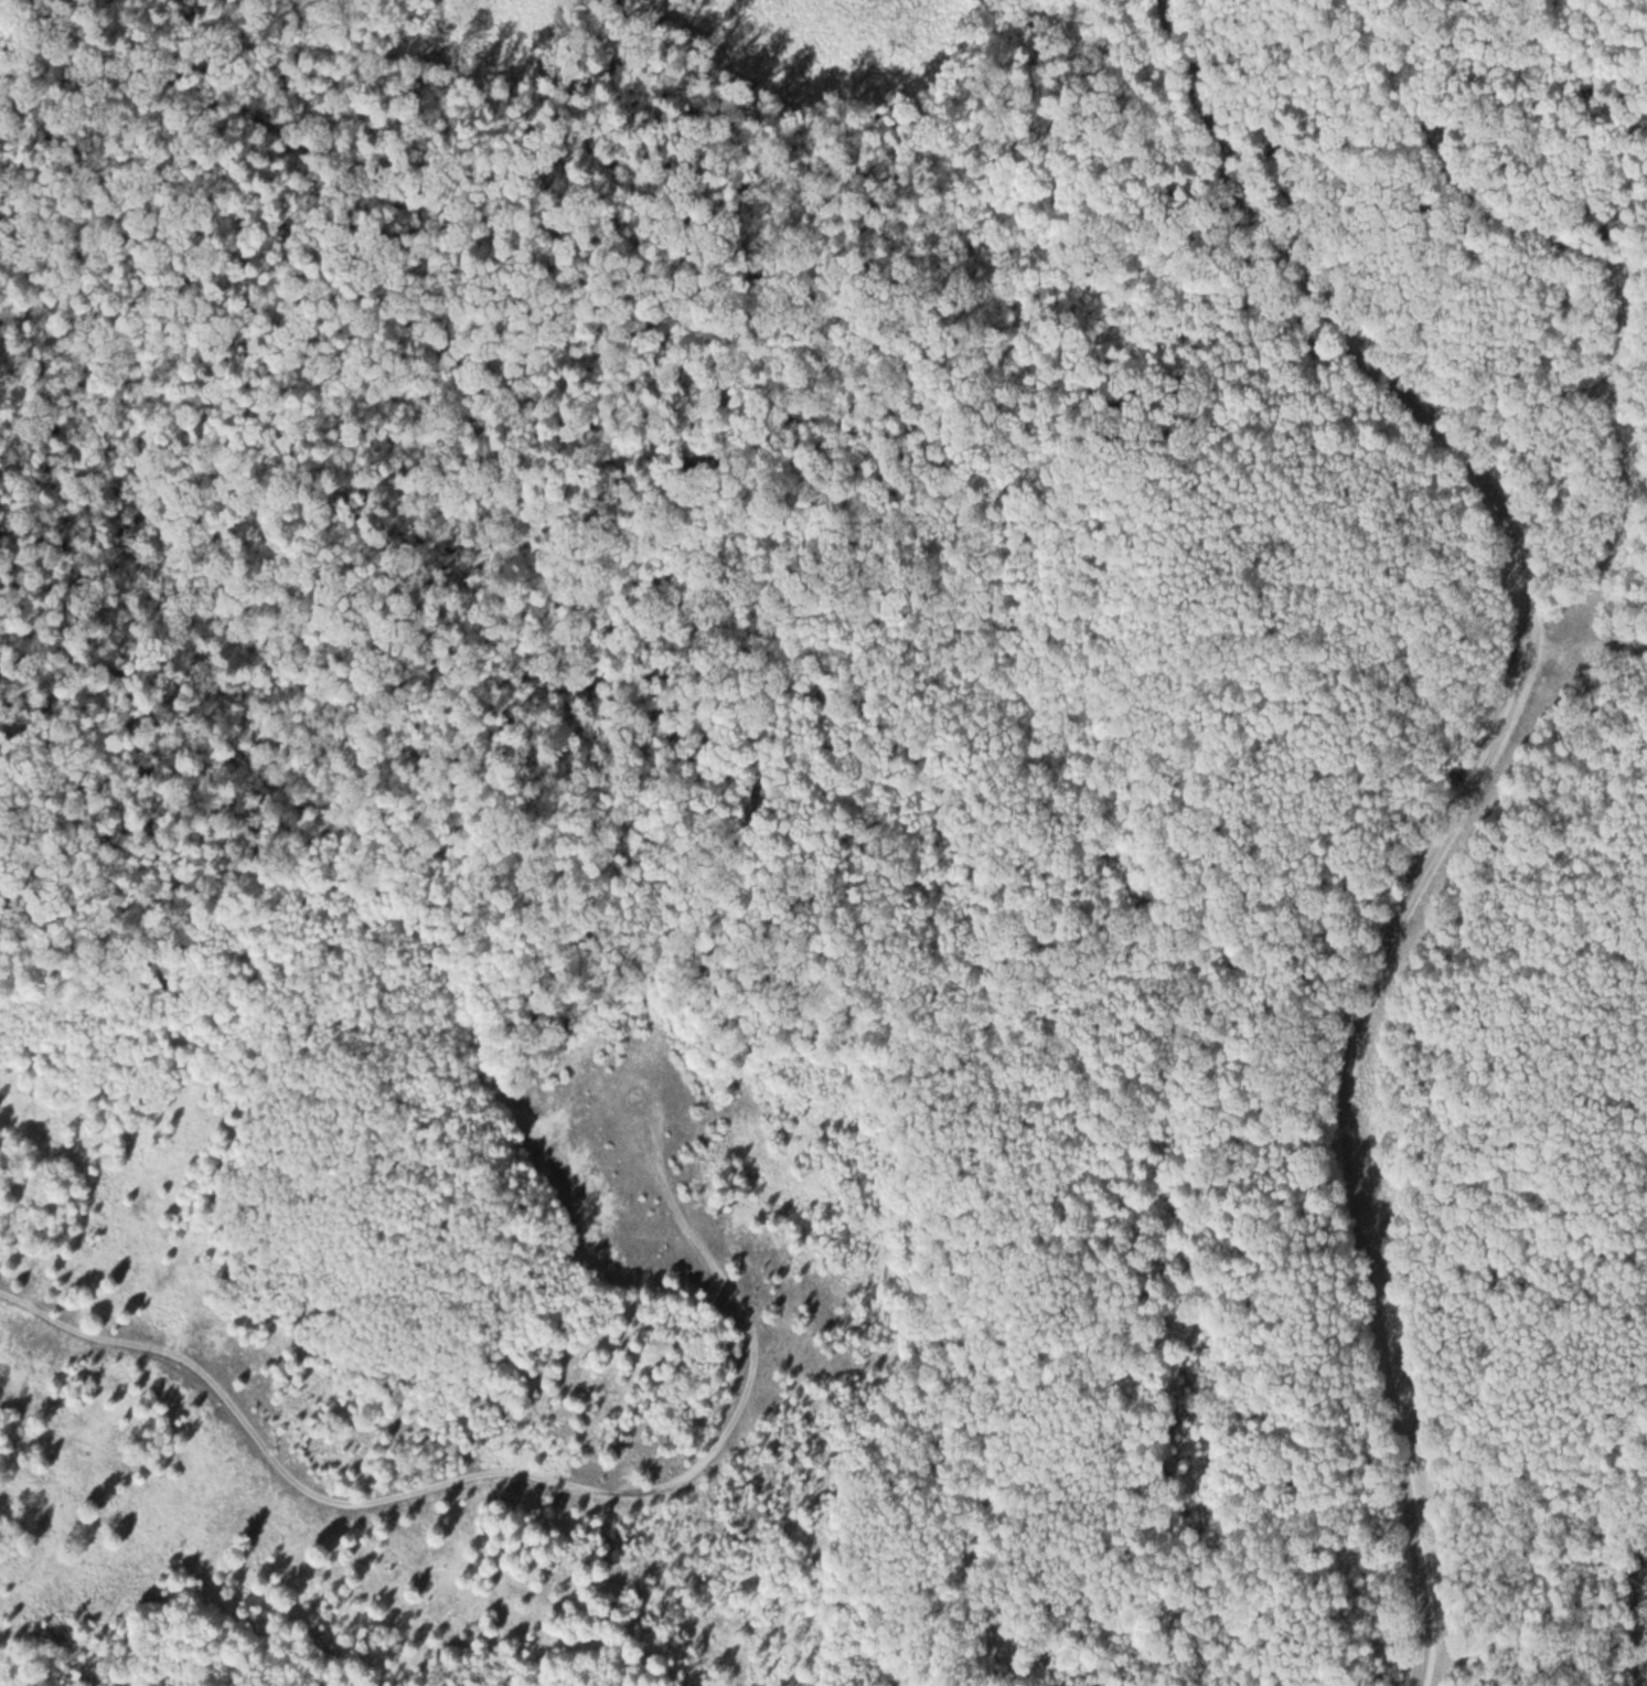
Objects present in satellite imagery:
road: (1464, 793)
road: (467, 1482)

